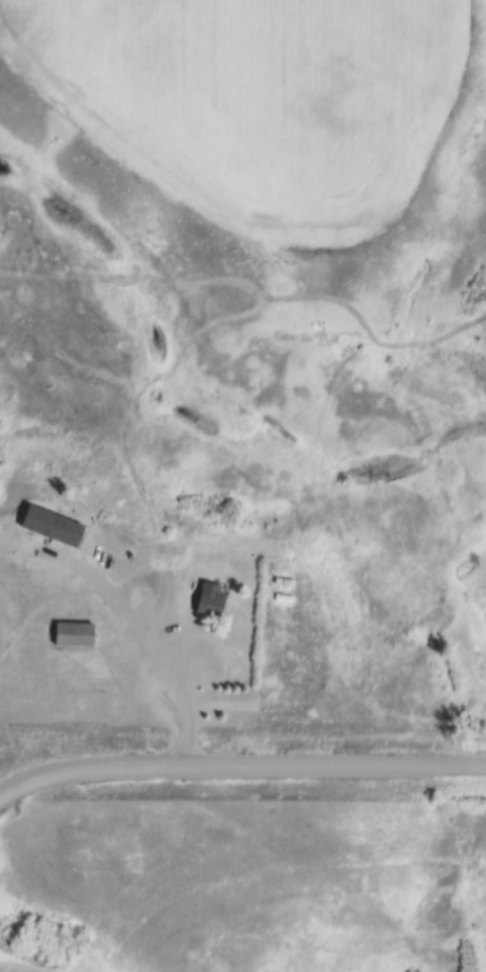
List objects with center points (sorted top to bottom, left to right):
building: (209, 596)
building: (73, 630)
road: (177, 658)
road: (240, 766)

